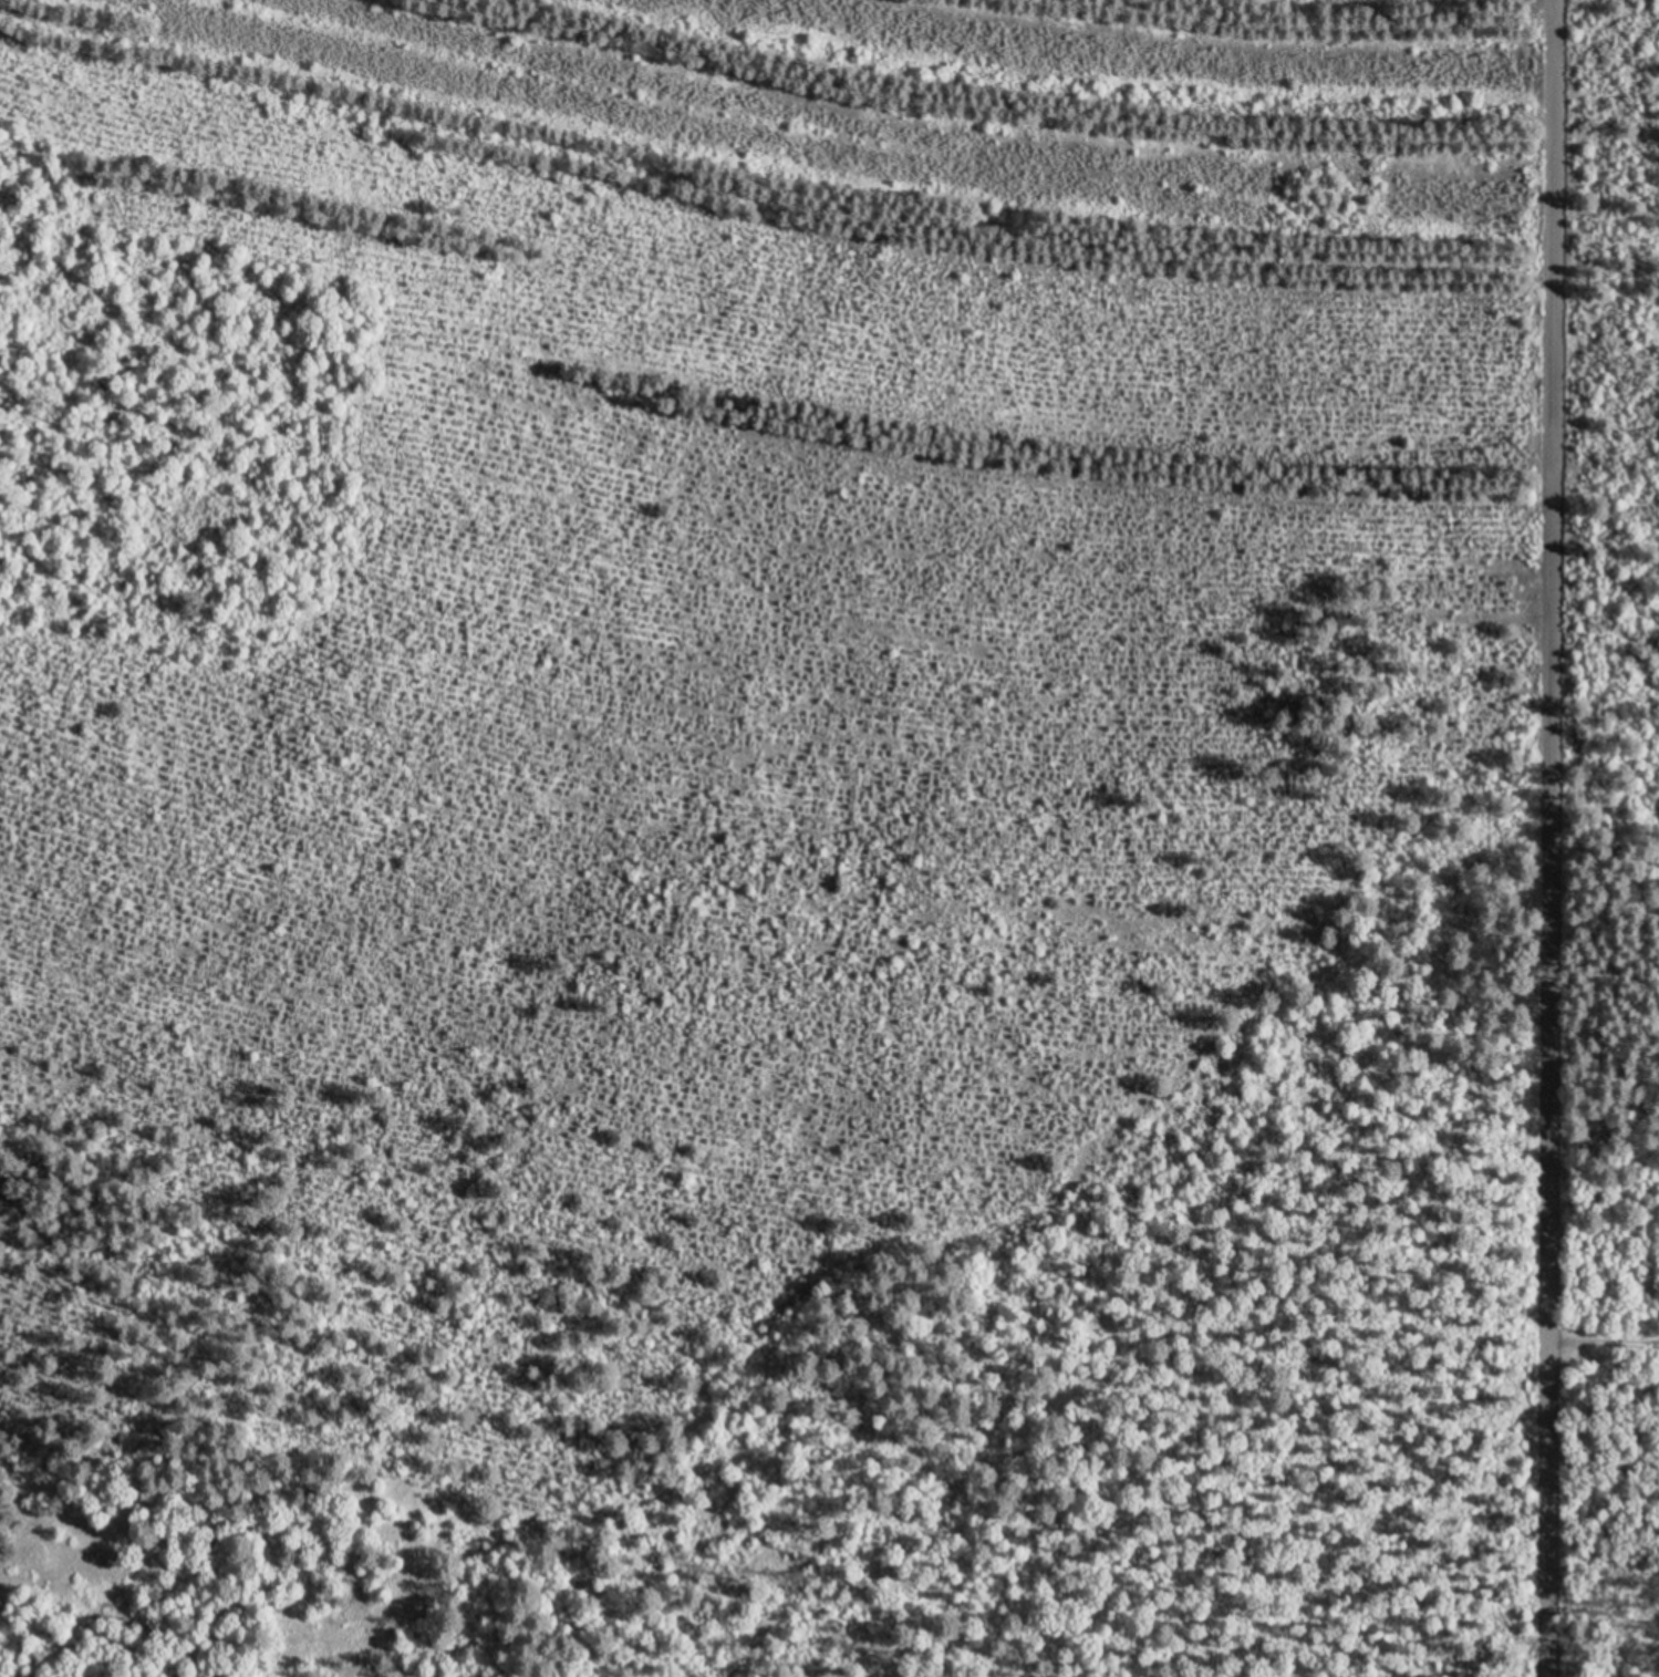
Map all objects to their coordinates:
road: (1547, 838)
road: (1600, 1312)

